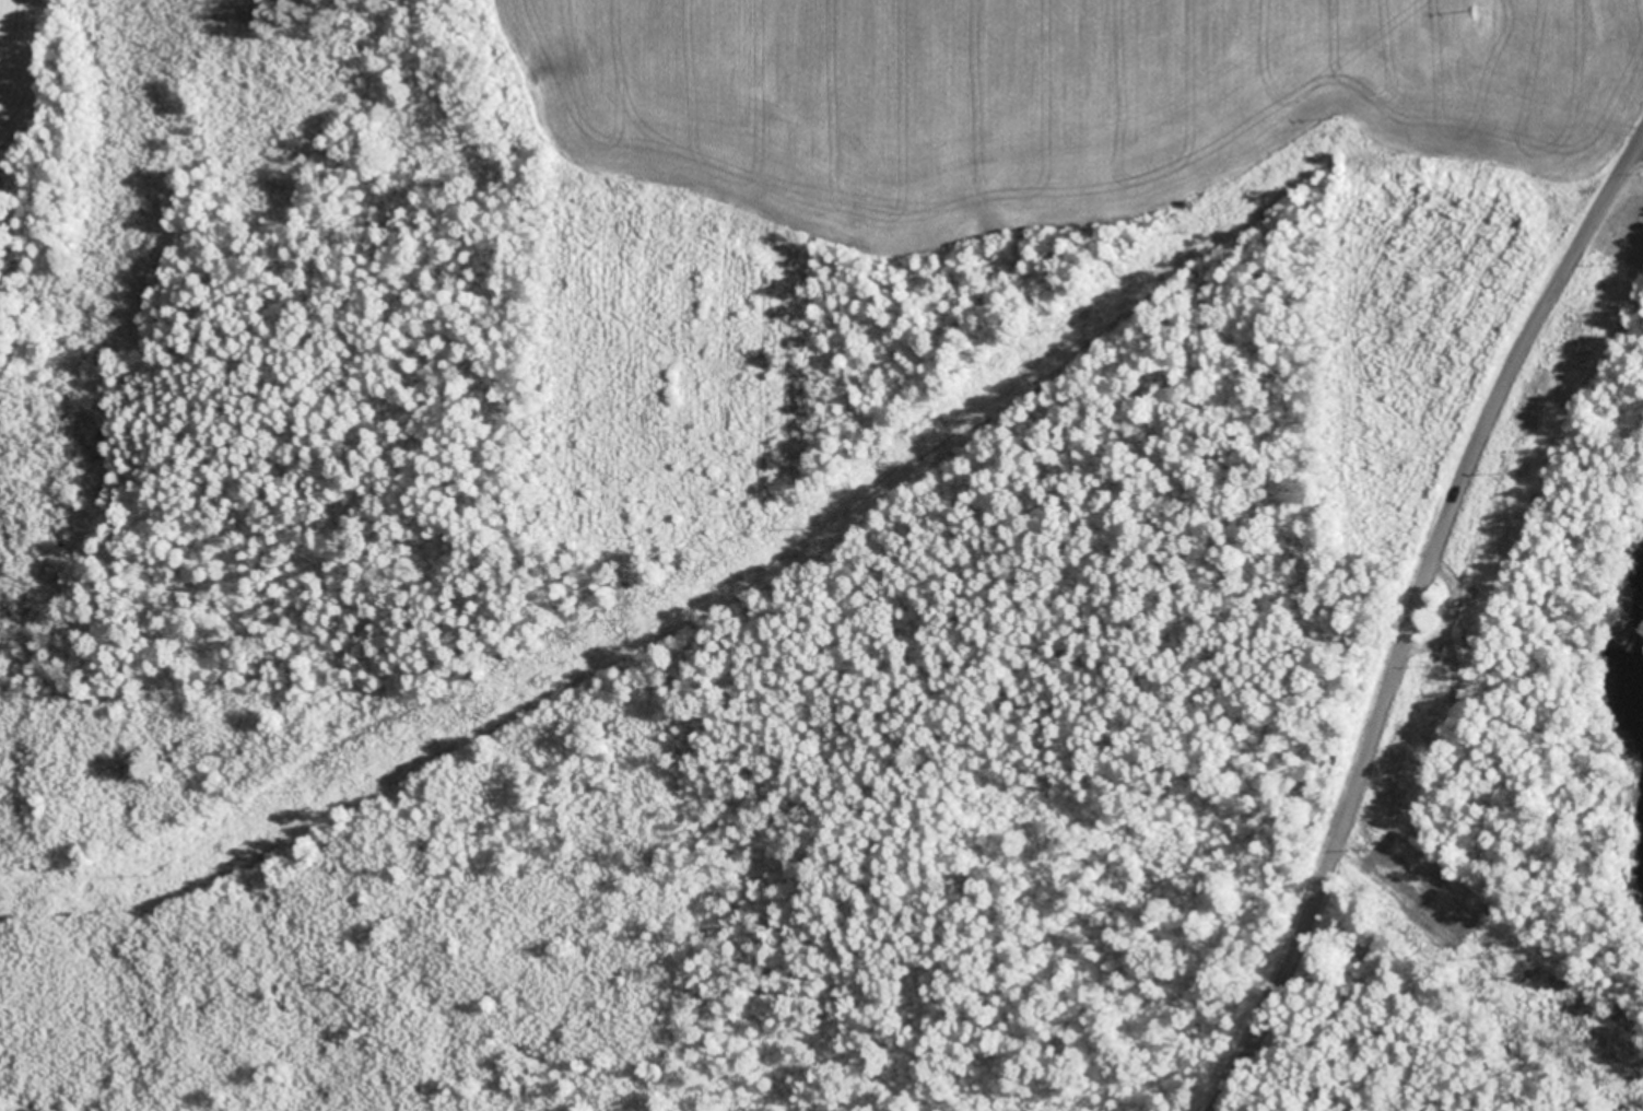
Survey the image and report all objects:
crop: (19, 67)
park: (278, 352)
road: (1425, 633)

